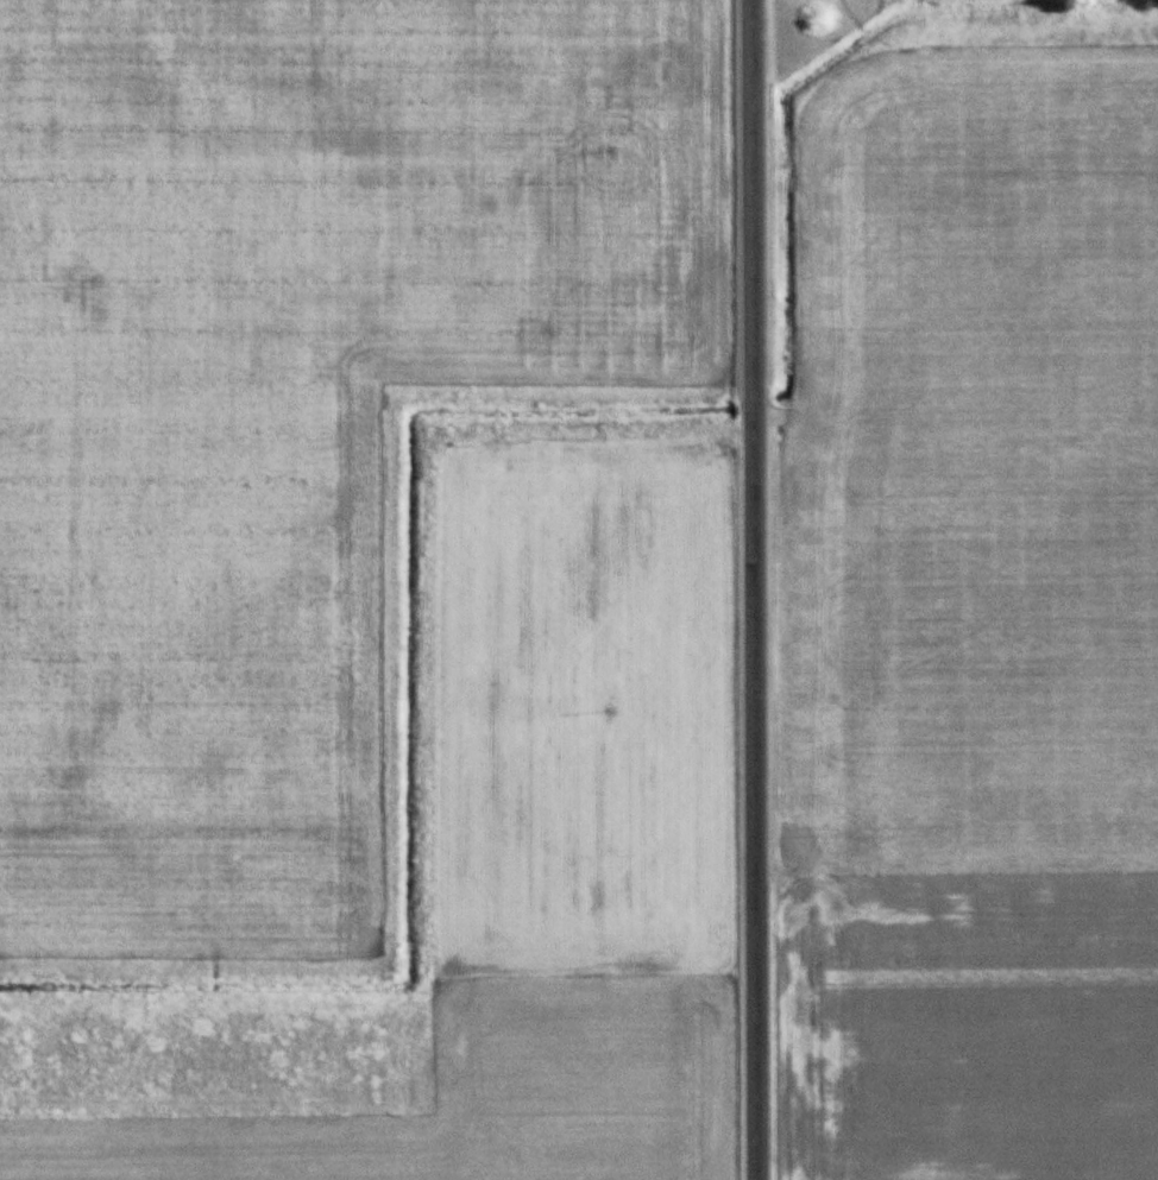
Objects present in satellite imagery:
road: (751, 589)

